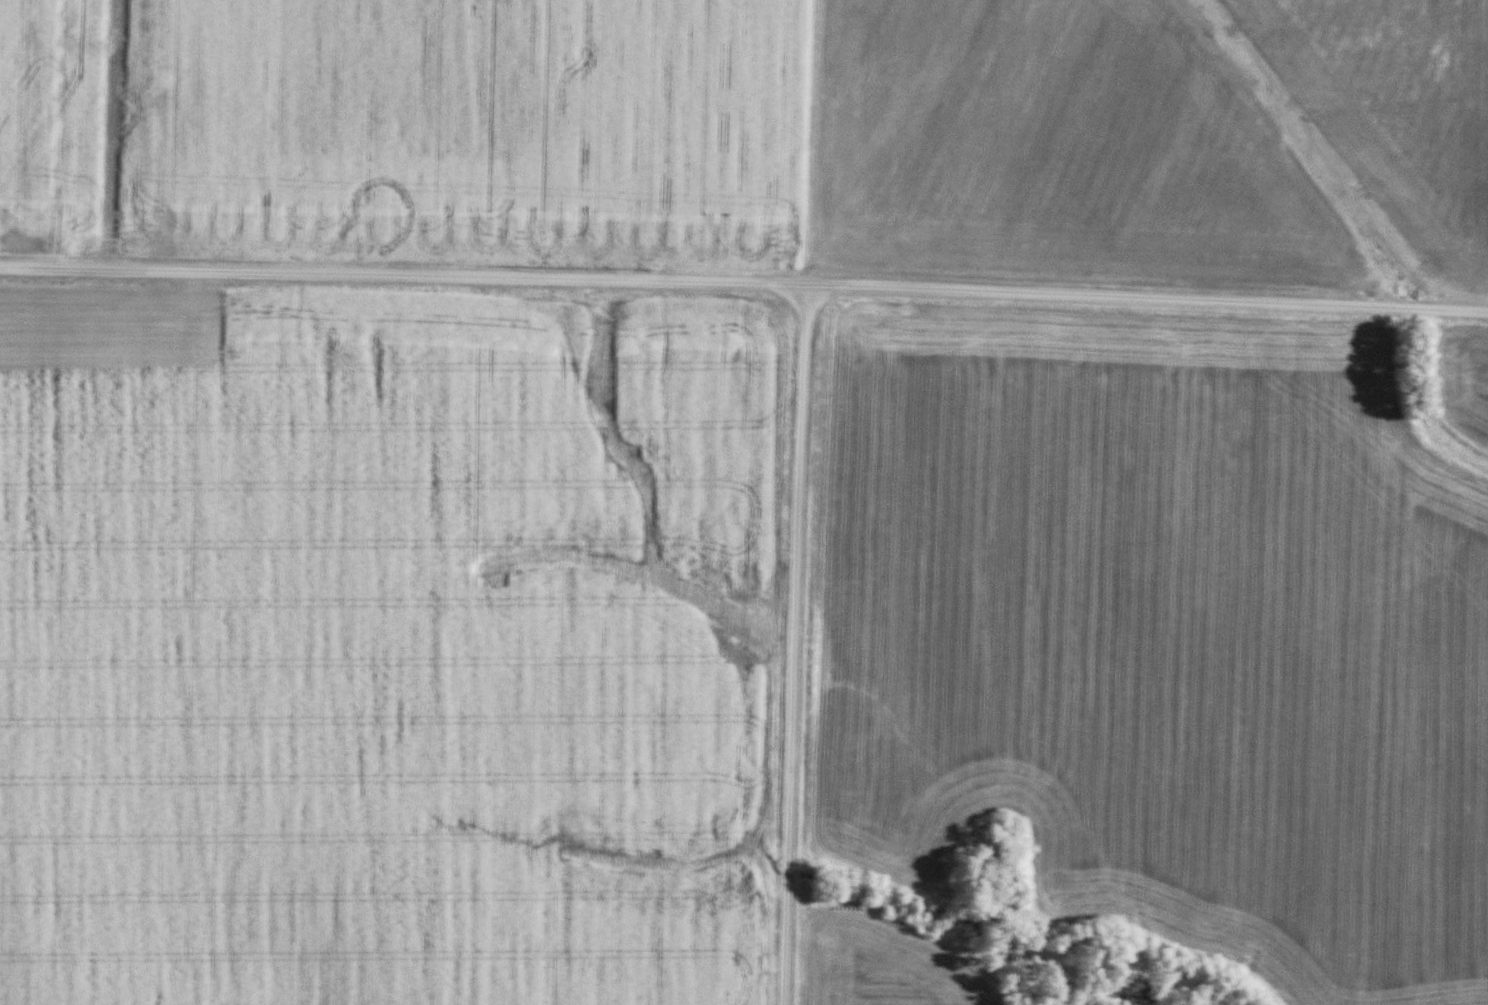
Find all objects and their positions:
road: (744, 283)
road: (787, 645)

